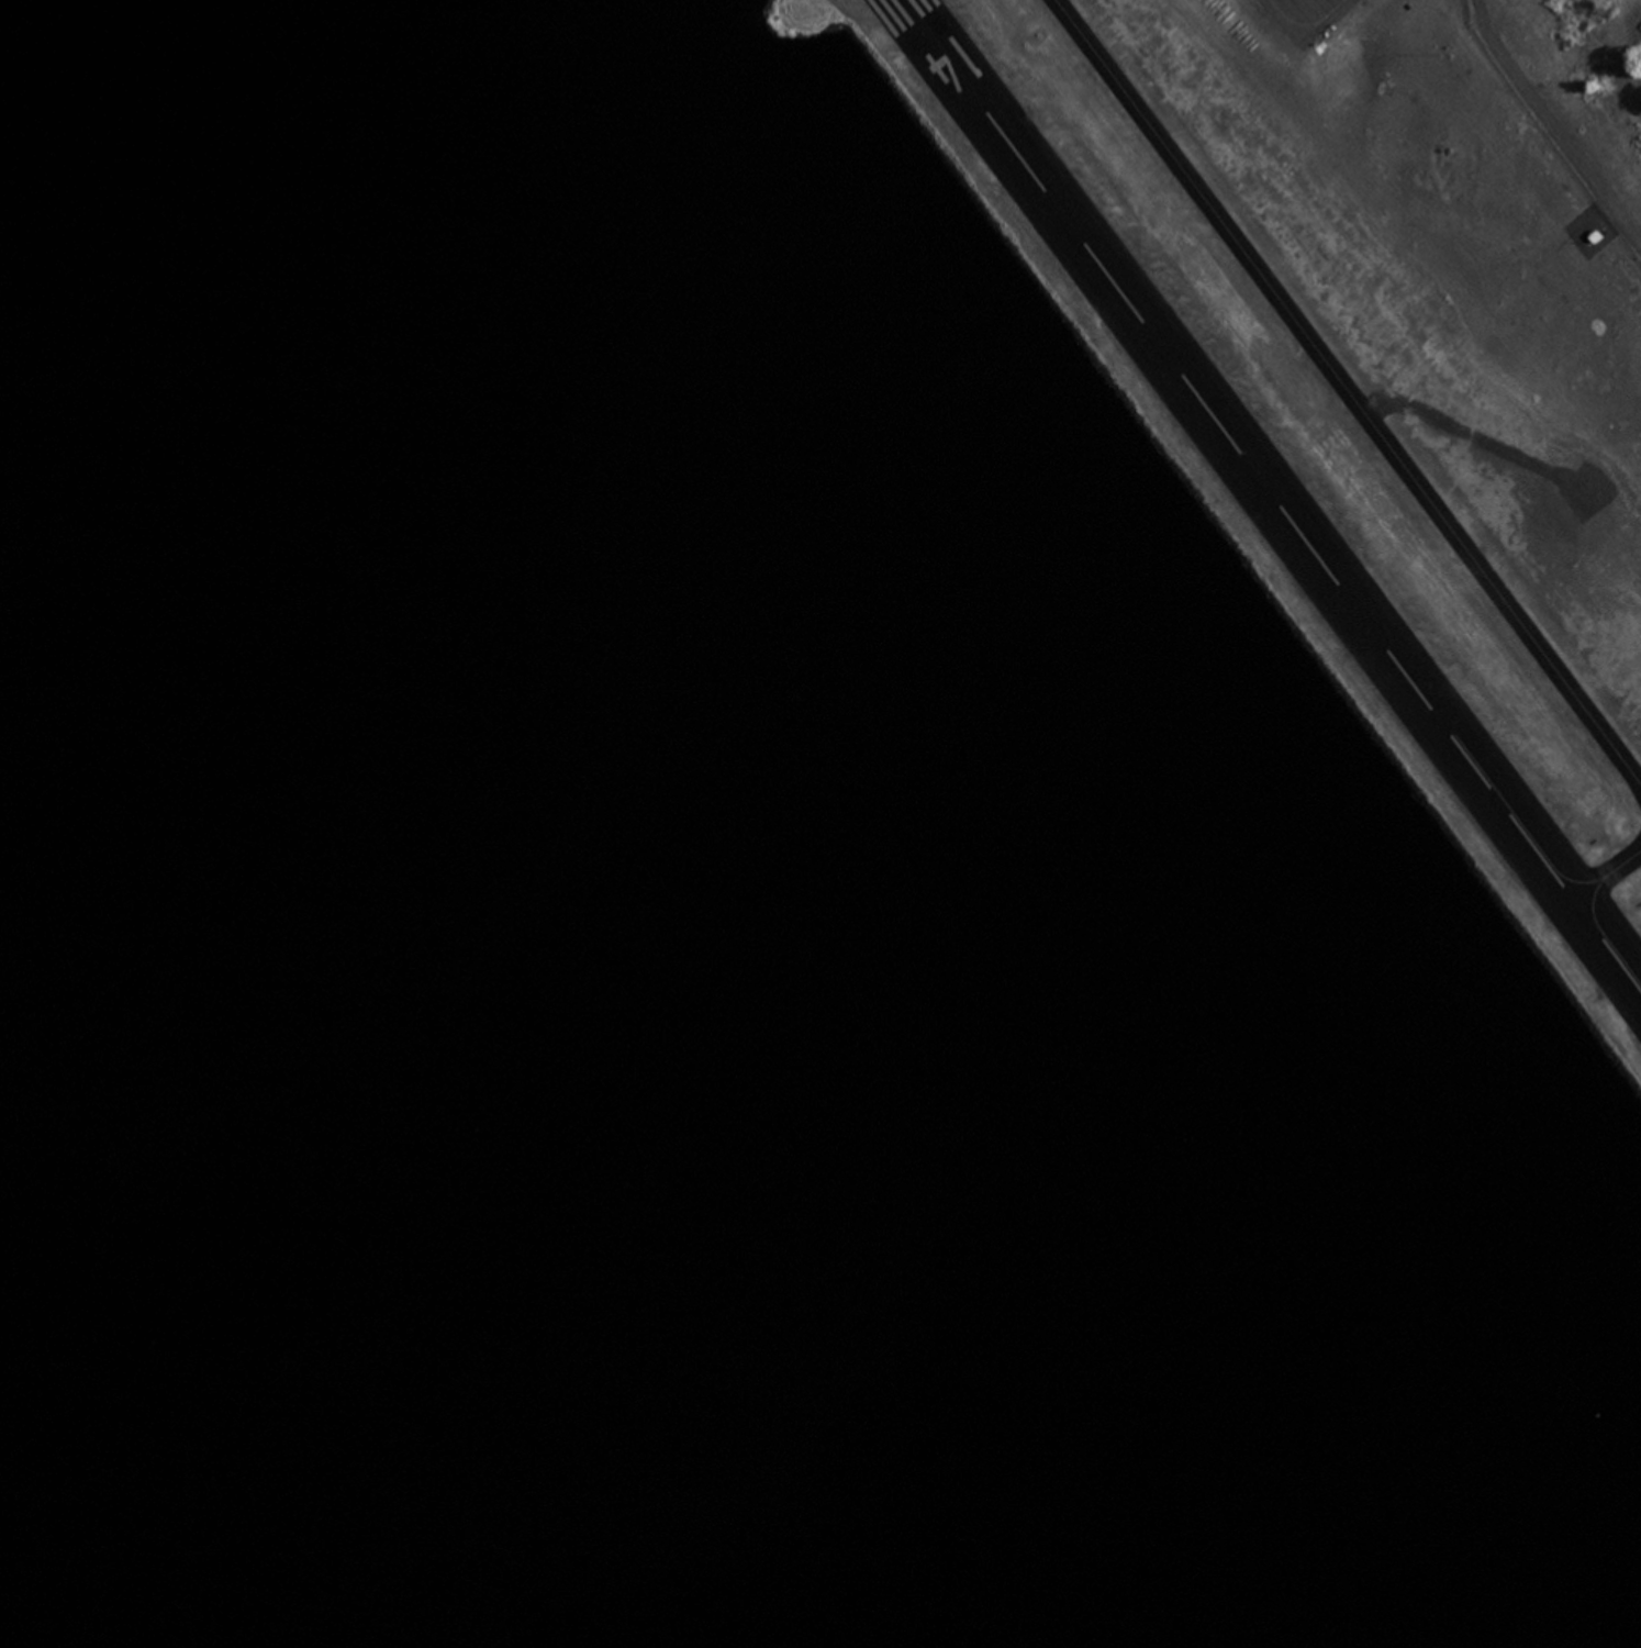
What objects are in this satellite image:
airport apron: (1305, 15)
airport taxiway: (1304, 25)
road: (1552, 124)
airport: (1353, 381)
airport taxiway: (1348, 391)
airport runway: (1273, 493)
airport taxiway: (1607, 872)

